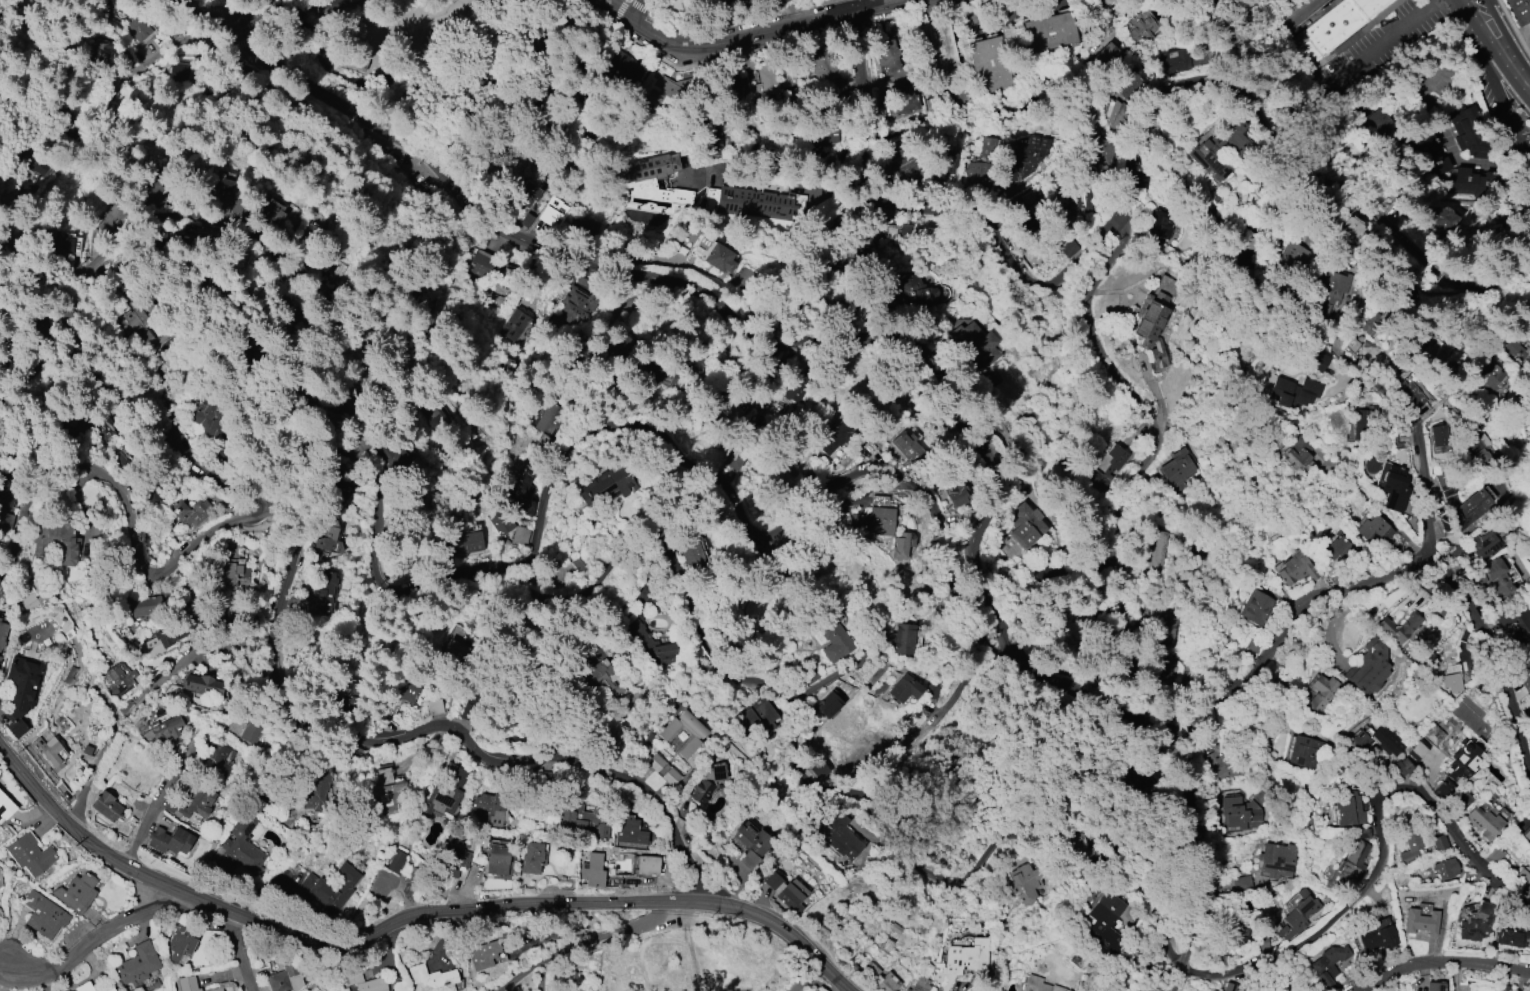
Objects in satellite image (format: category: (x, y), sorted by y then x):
road: (1487, 2)
building: (1208, 3)
road: (649, 5)
road: (278, 7)
road: (641, 9)
parking lot: (1270, 10)
building: (1518, 10)
road: (337, 11)
road: (624, 12)
road: (1114, 20)
road: (269, 21)
road: (739, 21)
building: (1340, 22)
road: (1512, 25)
building: (1143, 26)
road: (1293, 27)
building: (137, 28)
road: (245, 29)
building: (1050, 31)
road: (748, 32)
road: (1509, 34)
road: (1377, 39)
building: (932, 45)
road: (764, 46)
road: (1490, 50)
building: (887, 54)
building: (1308, 54)
building: (99, 56)
building: (1105, 57)
building: (823, 63)
building: (1174, 63)
road: (1296, 63)
building: (988, 64)
road: (135, 66)
building: (621, 69)
park: (429, 70)
building: (180, 72)
building: (766, 80)
road: (1483, 85)
building: (1131, 86)
road: (318, 92)
building: (670, 92)
building: (903, 98)
parking lot: (1503, 98)
road: (873, 101)
building: (1117, 113)
building: (1377, 120)
building: (1469, 131)
building: (827, 135)
road: (1280, 138)
building: (1220, 148)
building: (1103, 153)
building: (1433, 155)
building: (1025, 158)
building: (944, 162)
building: (36, 163)
building: (905, 167)
building: (978, 172)
road: (790, 179)
building: (1474, 182)
building: (652, 185)
building: (154, 192)
building: (221, 194)
building: (527, 195)
building: (710, 199)
building: (742, 200)
building: (1075, 200)
building: (1034, 201)
building: (788, 203)
building: (273, 211)
building: (554, 214)
road: (206, 218)
building: (1448, 219)
building: (1156, 225)
building: (1119, 226)
building: (1353, 230)
building: (315, 231)
building: (889, 231)
road: (995, 235)
building: (61, 243)
building: (1071, 248)
building: (713, 253)
building: (1292, 257)
building: (483, 262)
building: (1408, 291)
building: (1332, 292)
building: (914, 293)
building: (1084, 303)
building: (577, 305)
building: (520, 324)
building: (131, 328)
building: (1153, 328)
road: (1310, 331)
building: (975, 343)
building: (1514, 347)
building: (1435, 351)
building: (1316, 361)
building: (1489, 374)
building: (1292, 392)
building: (1408, 394)
building: (202, 413)
building: (436, 417)
building: (552, 420)
building: (69, 422)
road: (1418, 427)
building: (835, 437)
building: (1438, 438)
building: (1474, 439)
building: (1296, 453)
building: (1117, 458)
building: (394, 459)
building: (736, 463)
building: (1178, 469)
building: (1101, 482)
building: (607, 484)
building: (954, 488)
building: (1394, 488)
building: (519, 489)
building: (1446, 490)
building: (334, 491)
road: (986, 491)
road: (1125, 491)
building: (879, 501)
building: (526, 507)
building: (1471, 507)
road: (131, 509)
building: (190, 511)
building: (499, 520)
building: (876, 521)
building: (1027, 525)
road: (540, 527)
building: (1374, 529)
building: (520, 535)
building: (329, 541)
building: (56, 542)
building: (466, 543)
building: (1336, 544)
building: (1482, 544)
building: (903, 545)
building: (1155, 550)
building: (694, 555)
building: (1295, 568)
building: (233, 574)
building: (1492, 578)
building: (27, 591)
building: (322, 595)
building: (145, 605)
building: (1255, 607)
building: (0, 618)
building: (1515, 624)
building: (1398, 628)
building: (1168, 630)
building: (3, 634)
building: (833, 638)
building: (902, 638)
building: (159, 641)
building: (650, 641)
building: (1529, 650)
road: (1492, 653)
building: (1529, 653)
building: (0, 659)
building: (1369, 667)
building: (1168, 671)
building: (599, 677)
building: (1451, 678)
building: (118, 679)
building: (1526, 682)
building: (203, 685)
building: (410, 689)
building: (904, 689)
building: (21, 691)
road: (949, 691)
building: (1322, 692)
road: (143, 698)
road: (271, 700)
building: (828, 703)
building: (754, 718)
building: (163, 729)
building: (251, 729)
building: (695, 735)
building: (1433, 735)
building: (1358, 740)
building: (1386, 741)
building: (47, 750)
building: (1417, 750)
building: (1305, 751)
building: (349, 756)
building: (216, 758)
building: (655, 762)
building: (1460, 762)
building: (1223, 764)
building: (1401, 767)
building: (670, 777)
building: (1141, 780)
building: (707, 782)
park: (1060, 782)
building: (317, 787)
building: (1441, 789)
building: (389, 792)
road: (817, 794)
building: (445, 796)
road: (159, 798)
building: (1462, 800)
building: (107, 803)
building: (191, 804)
building: (5, 806)
road: (918, 806)
building: (1347, 806)
building: (490, 808)
building: (1241, 814)
building: (581, 820)
building: (1483, 822)
building: (834, 829)
building: (630, 831)
building: (1527, 834)
road: (1376, 839)
building: (169, 841)
building: (751, 843)
building: (1439, 843)
building: (237, 849)
building: (1409, 849)
building: (30, 854)
building: (1493, 854)
building: (532, 857)
road: (1203, 859)
building: (1354, 859)
building: (496, 860)
building: (1276, 860)
building: (457, 861)
building: (396, 862)
building: (647, 865)
building: (1445, 868)
building: (592, 870)
building: (0, 872)
building: (1332, 877)
building: (1522, 881)
building: (1025, 882)
building: (1243, 884)
building: (330, 887)
building: (75, 892)
building: (784, 893)
building: (43, 914)
building: (1297, 915)
road: (407, 916)
building: (1105, 922)
building: (1420, 922)
building: (1475, 923)
building: (1512, 935)
road: (95, 938)
building: (1378, 938)
building: (181, 941)
road: (580, 944)
road: (239, 952)
building: (482, 954)
road: (641, 954)
building: (966, 959)
road: (1441, 961)
building: (136, 964)
building: (1330, 964)
road: (5, 970)
building: (870, 970)
building: (285, 977)
building: (432, 978)
building: (888, 982)
building: (187, 983)
building: (373, 984)
building: (921, 984)
building: (1434, 986)
building: (84, 987)
building: (1042, 987)
building: (1229, 987)
building: (110, 989)
building: (214, 989)
building: (1214, 990)

